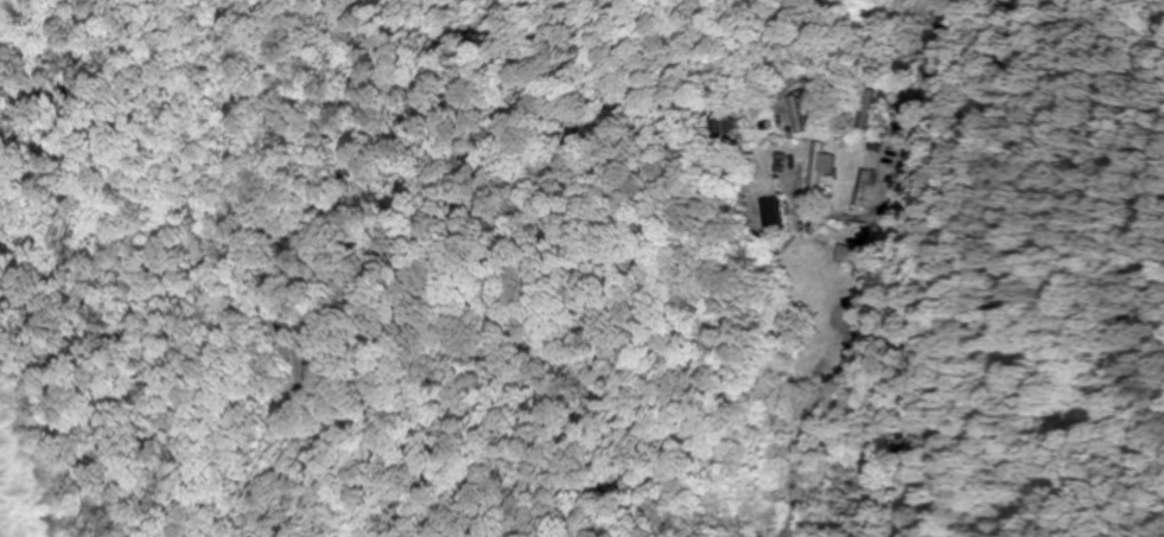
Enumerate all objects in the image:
road: (948, 27)
road: (937, 68)
building: (794, 113)
building: (721, 120)
building: (814, 167)
building: (859, 188)
building: (770, 216)
building: (846, 256)

